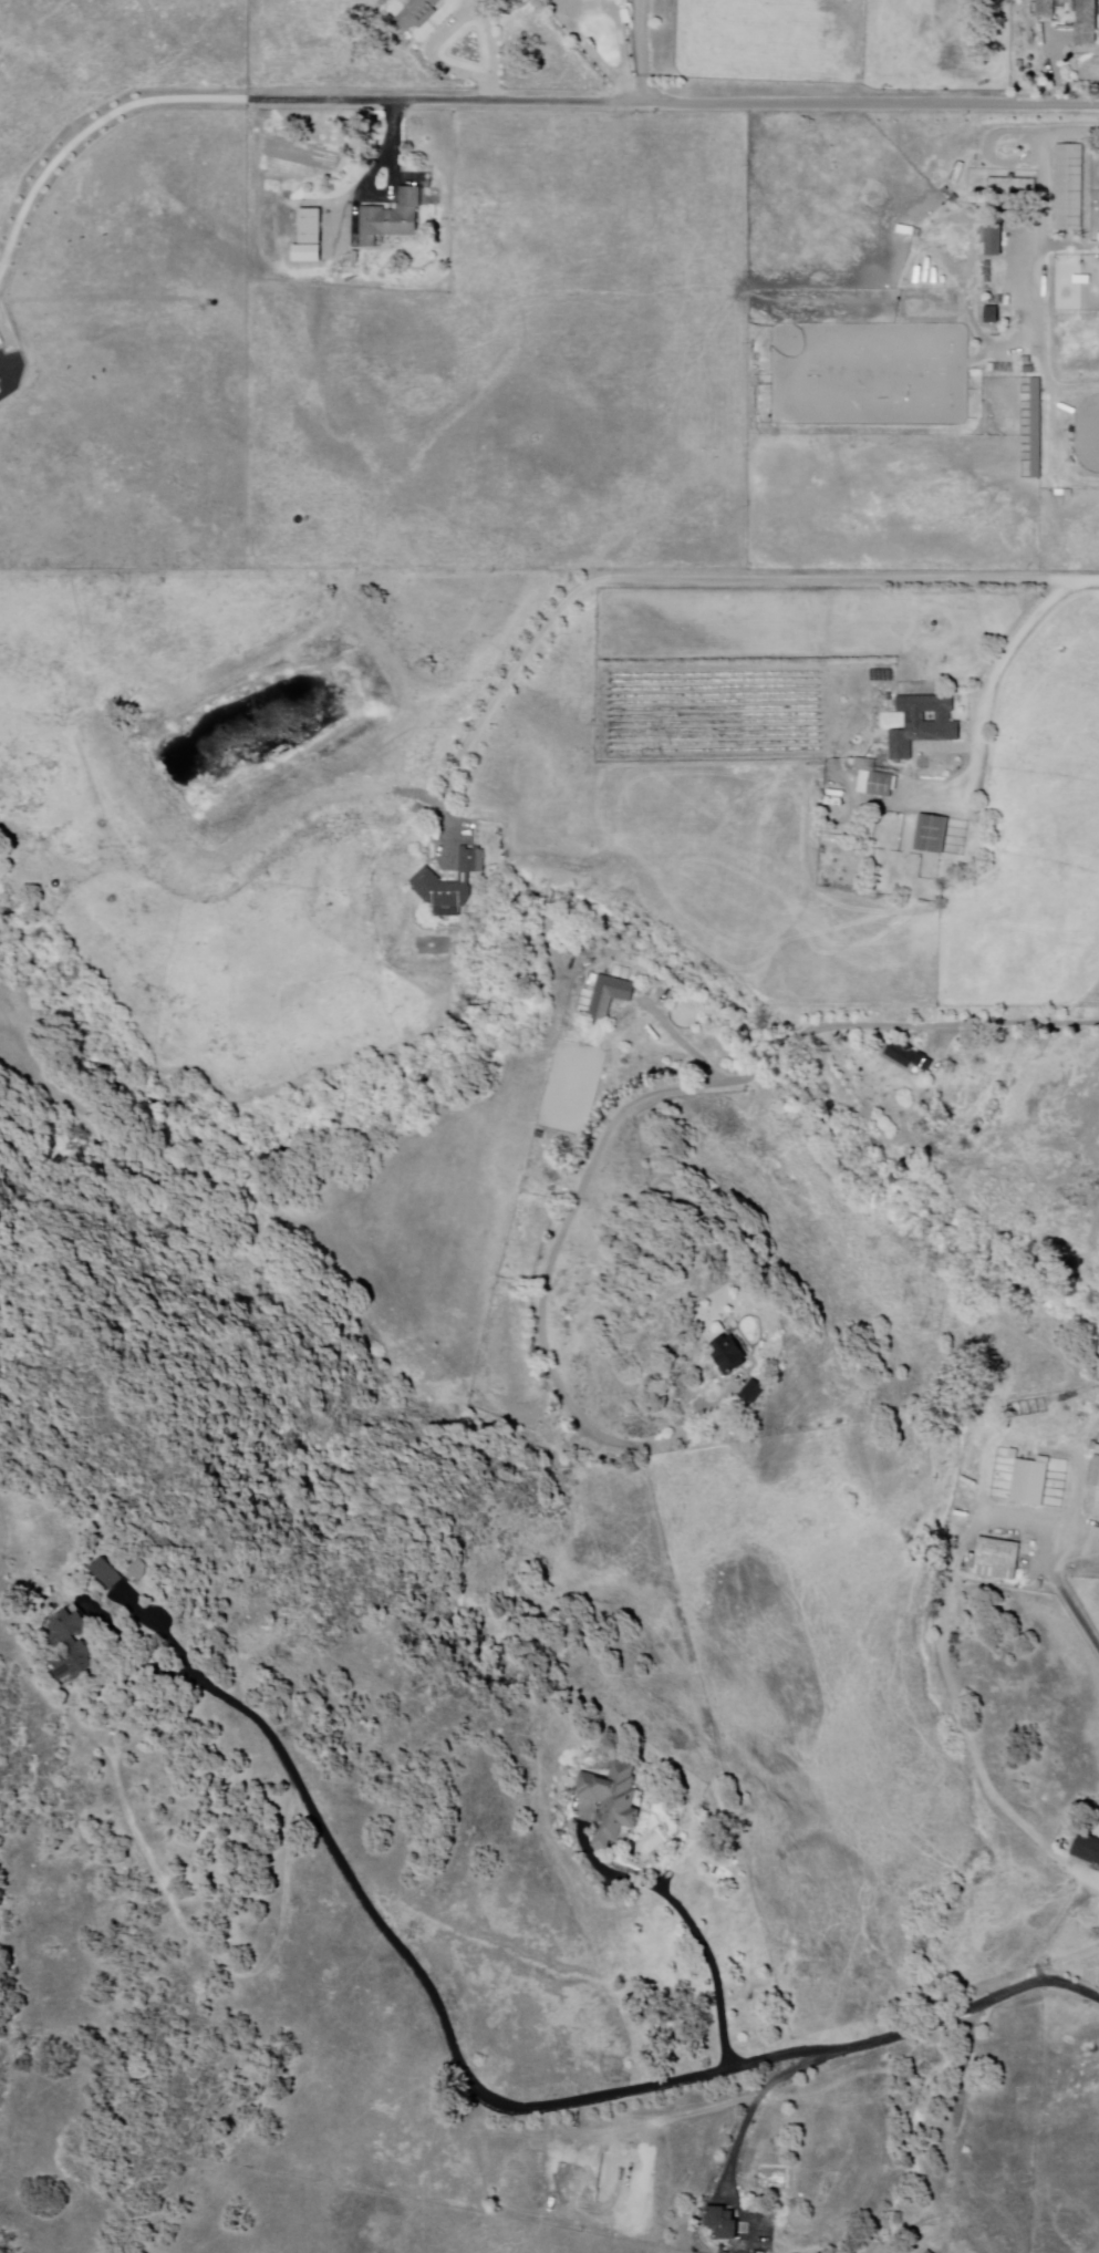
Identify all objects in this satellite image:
building: (418, 14)
building: (1089, 20)
road: (493, 48)
road: (592, 52)
road: (645, 53)
road: (433, 56)
road: (674, 103)
road: (1070, 131)
road: (91, 132)
building: (1015, 185)
road: (391, 188)
building: (1071, 189)
building: (393, 218)
building: (312, 228)
building: (997, 241)
building: (0, 258)
road: (1030, 267)
building: (1, 374)
park: (872, 374)
building: (1, 386)
building: (1034, 428)
road: (856, 576)
road: (500, 686)
building: (925, 723)
road: (984, 725)
building: (878, 784)
building: (934, 834)
building: (453, 883)
building: (611, 995)
road: (933, 1025)
road: (686, 1044)
building: (910, 1057)
road: (552, 1275)
building: (732, 1356)
building: (756, 1393)
building: (1034, 1484)
building: (1096, 1496)
building: (999, 1560)
building: (139, 1571)
building: (105, 1574)
road: (1060, 1580)
road: (164, 1631)
building: (71, 1644)
road: (304, 1794)
building: (610, 1804)
building: (1089, 1849)
road: (696, 1931)
road: (769, 2060)
road: (756, 2107)
building: (725, 2223)
building: (930, 2252)

